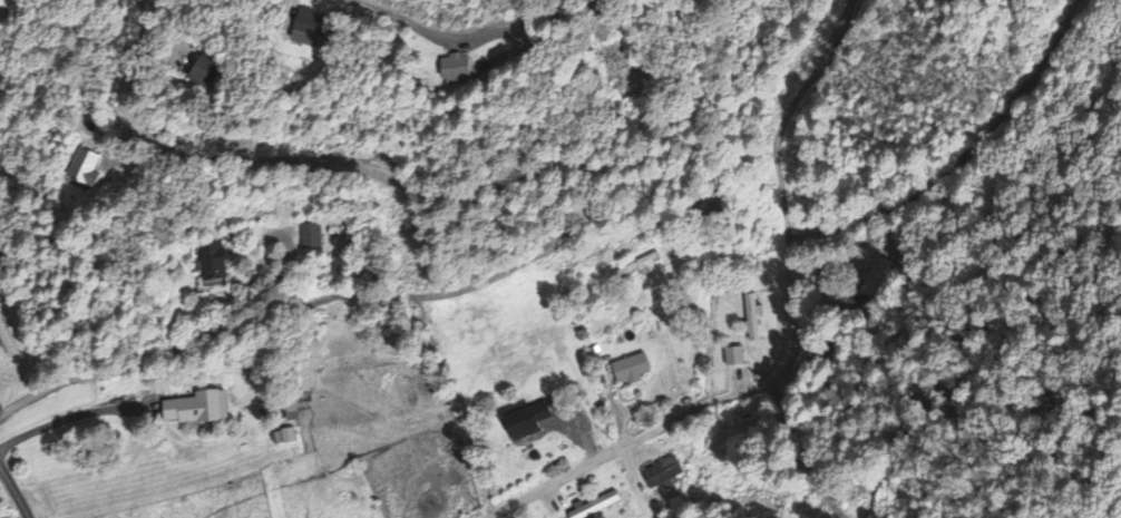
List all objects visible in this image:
building: (596, 1)
road: (403, 21)
building: (310, 32)
building: (455, 70)
building: (205, 75)
road: (964, 158)
building: (82, 168)
road: (591, 202)
building: (310, 237)
building: (212, 265)
building: (634, 270)
building: (876, 280)
building: (751, 320)
road: (792, 339)
building: (6, 343)
road: (672, 352)
building: (733, 358)
building: (630, 371)
building: (196, 410)
building: (282, 438)
road: (799, 453)
building: (660, 475)
road: (16, 492)
building: (594, 507)

